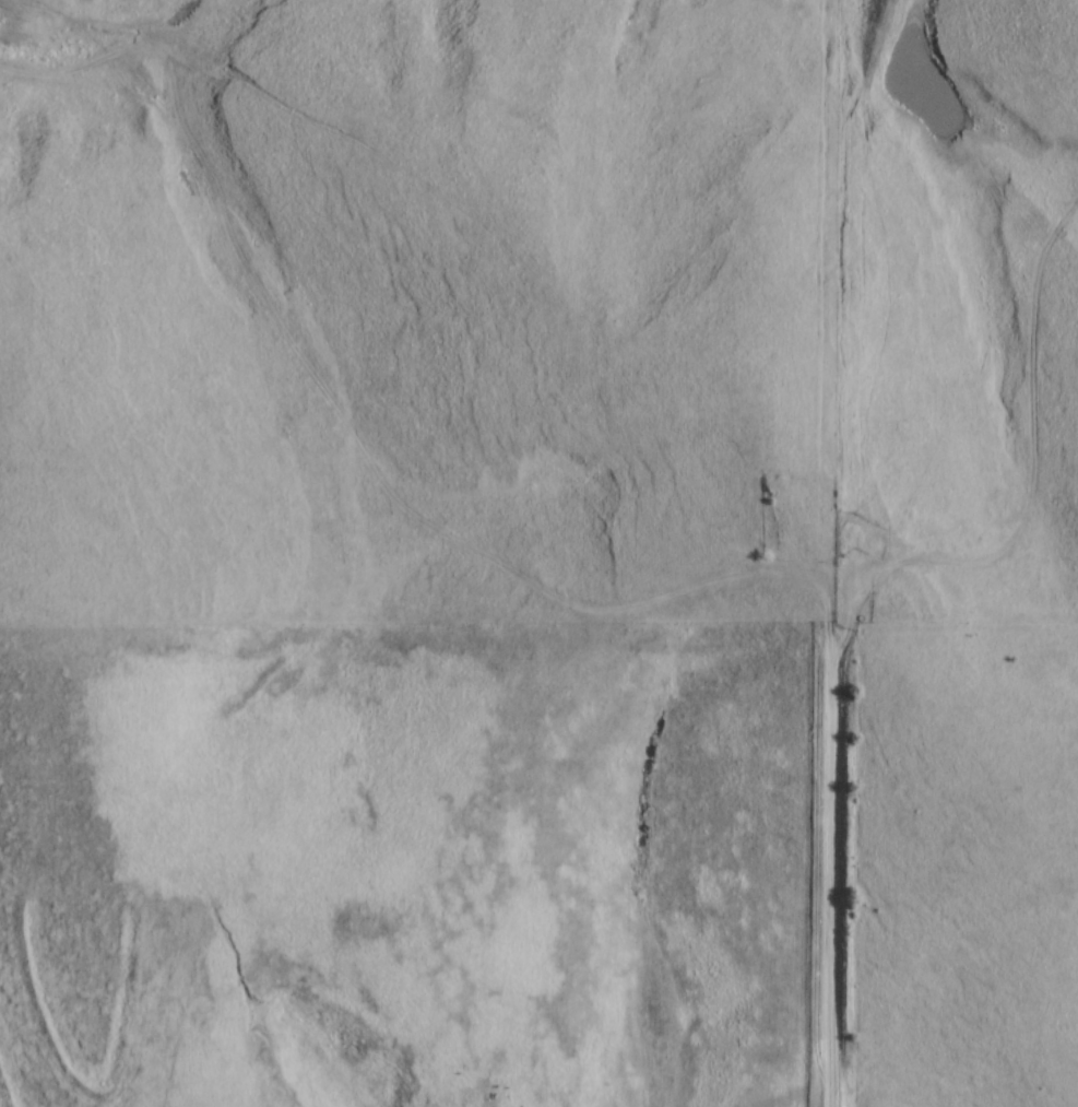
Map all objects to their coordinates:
road: (831, 870)

